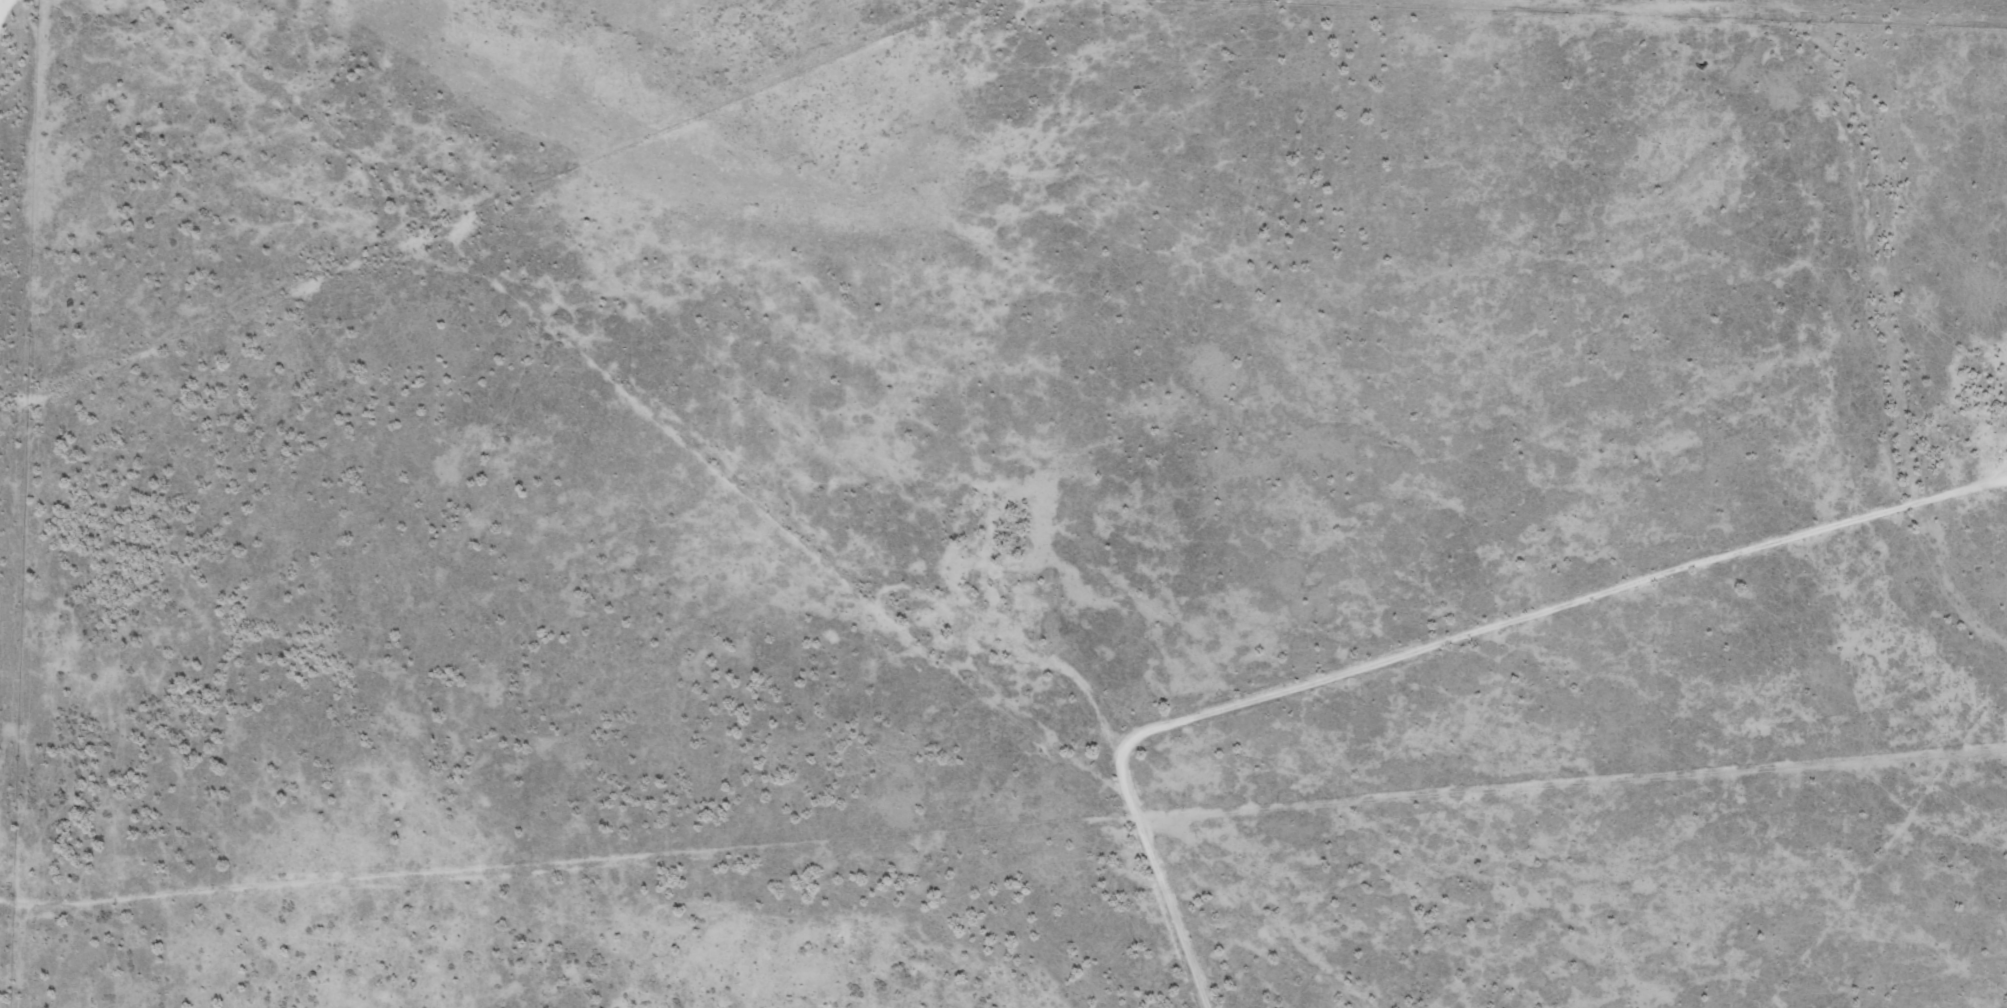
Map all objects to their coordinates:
road: (18, 474)

